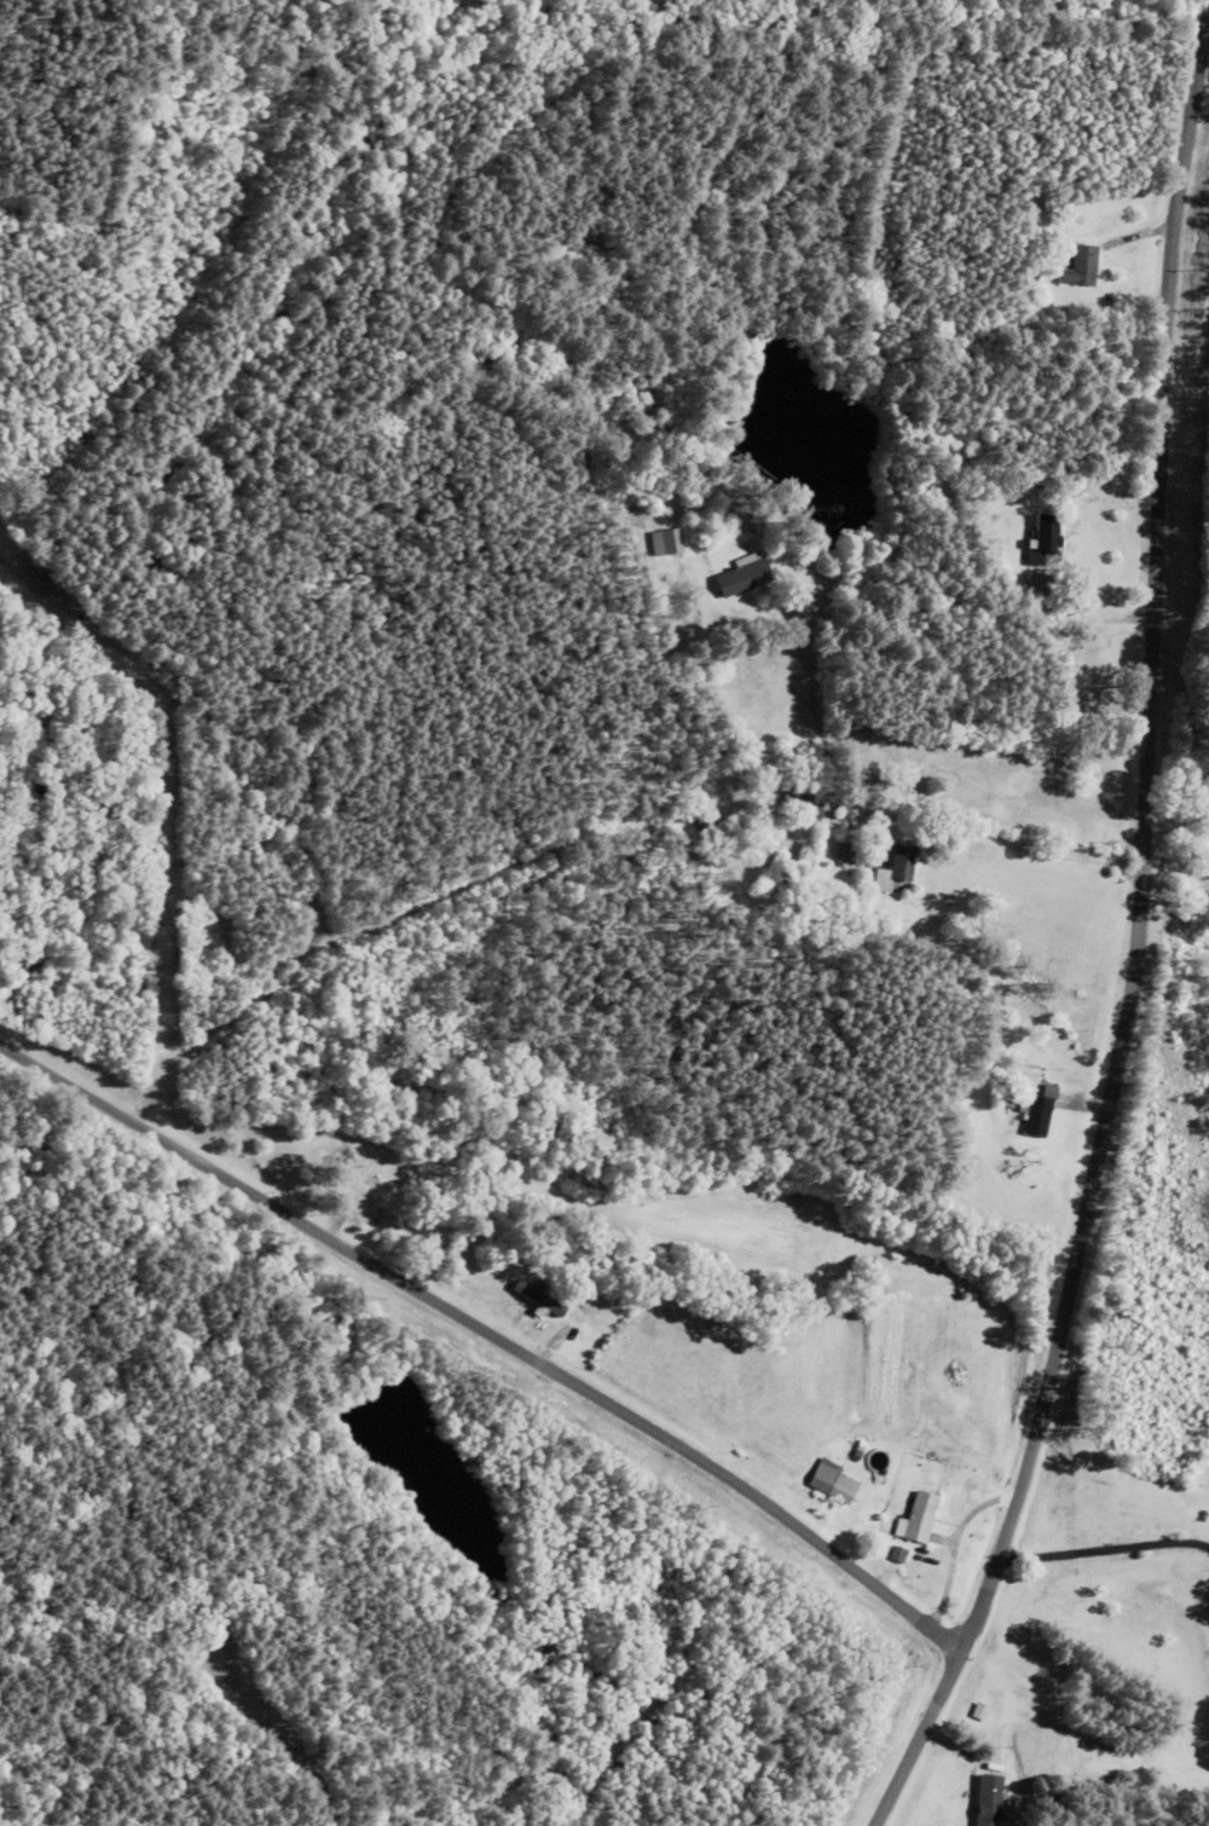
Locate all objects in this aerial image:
building: (1082, 266)
building: (1046, 536)
building: (666, 543)
building: (739, 578)
building: (1091, 695)
building: (799, 801)
building: (843, 855)
building: (893, 871)
road: (510, 908)
road: (1116, 931)
building: (1034, 1115)
building: (386, 1201)
road: (473, 1357)
building: (833, 1483)
building: (920, 1518)

